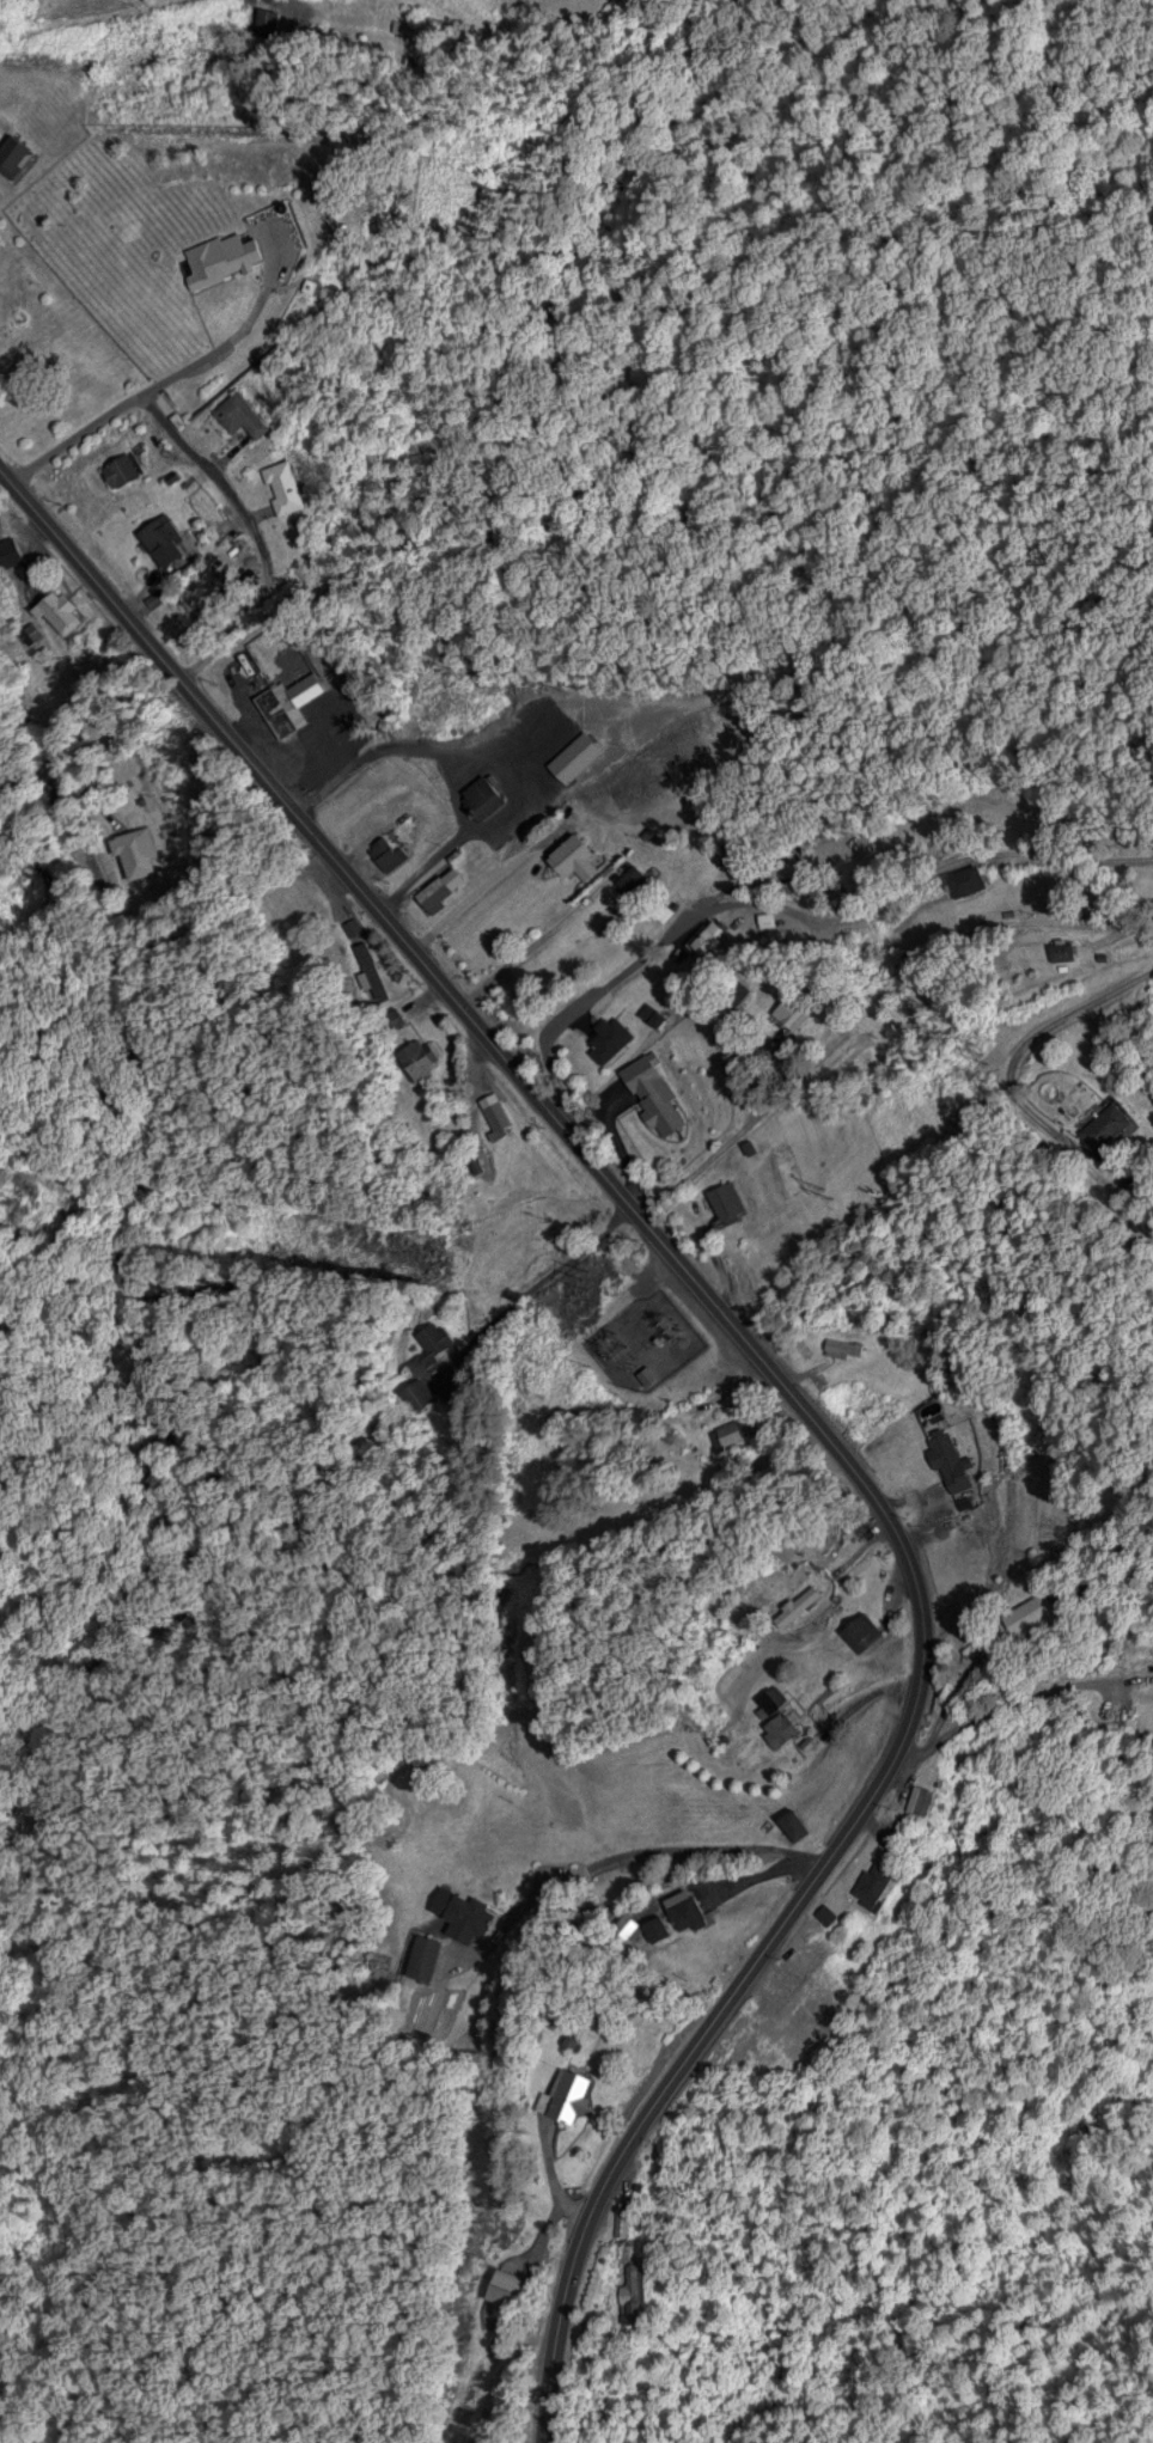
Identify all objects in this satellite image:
building: (12, 152)
building: (214, 257)
road: (152, 386)
building: (238, 413)
building: (128, 466)
building: (291, 487)
road: (256, 514)
building: (171, 537)
building: (20, 548)
building: (66, 609)
building: (281, 708)
building: (481, 794)
building: (384, 849)
building: (571, 855)
building: (632, 878)
building: (964, 878)
building: (431, 892)
road: (812, 918)
building: (707, 935)
building: (371, 969)
road: (122, 983)
building: (787, 1009)
building: (389, 1018)
road: (887, 1022)
building: (606, 1037)
building: (413, 1056)
building: (651, 1092)
building: (493, 1113)
road: (992, 1136)
building: (724, 1198)
power tower: (584, 1279)
road: (531, 1284)
power substation: (640, 1340)
building: (841, 1345)
road: (781, 1380)
building: (727, 1433)
building: (945, 1455)
road: (700, 1491)
building: (975, 1546)
building: (798, 1606)
building: (859, 1630)
building: (775, 1715)
building: (915, 1798)
building: (788, 1824)
building: (866, 1882)
building: (681, 1907)
building: (465, 1913)
building: (422, 1955)
building: (566, 2096)
building: (504, 2286)
building: (629, 2291)

